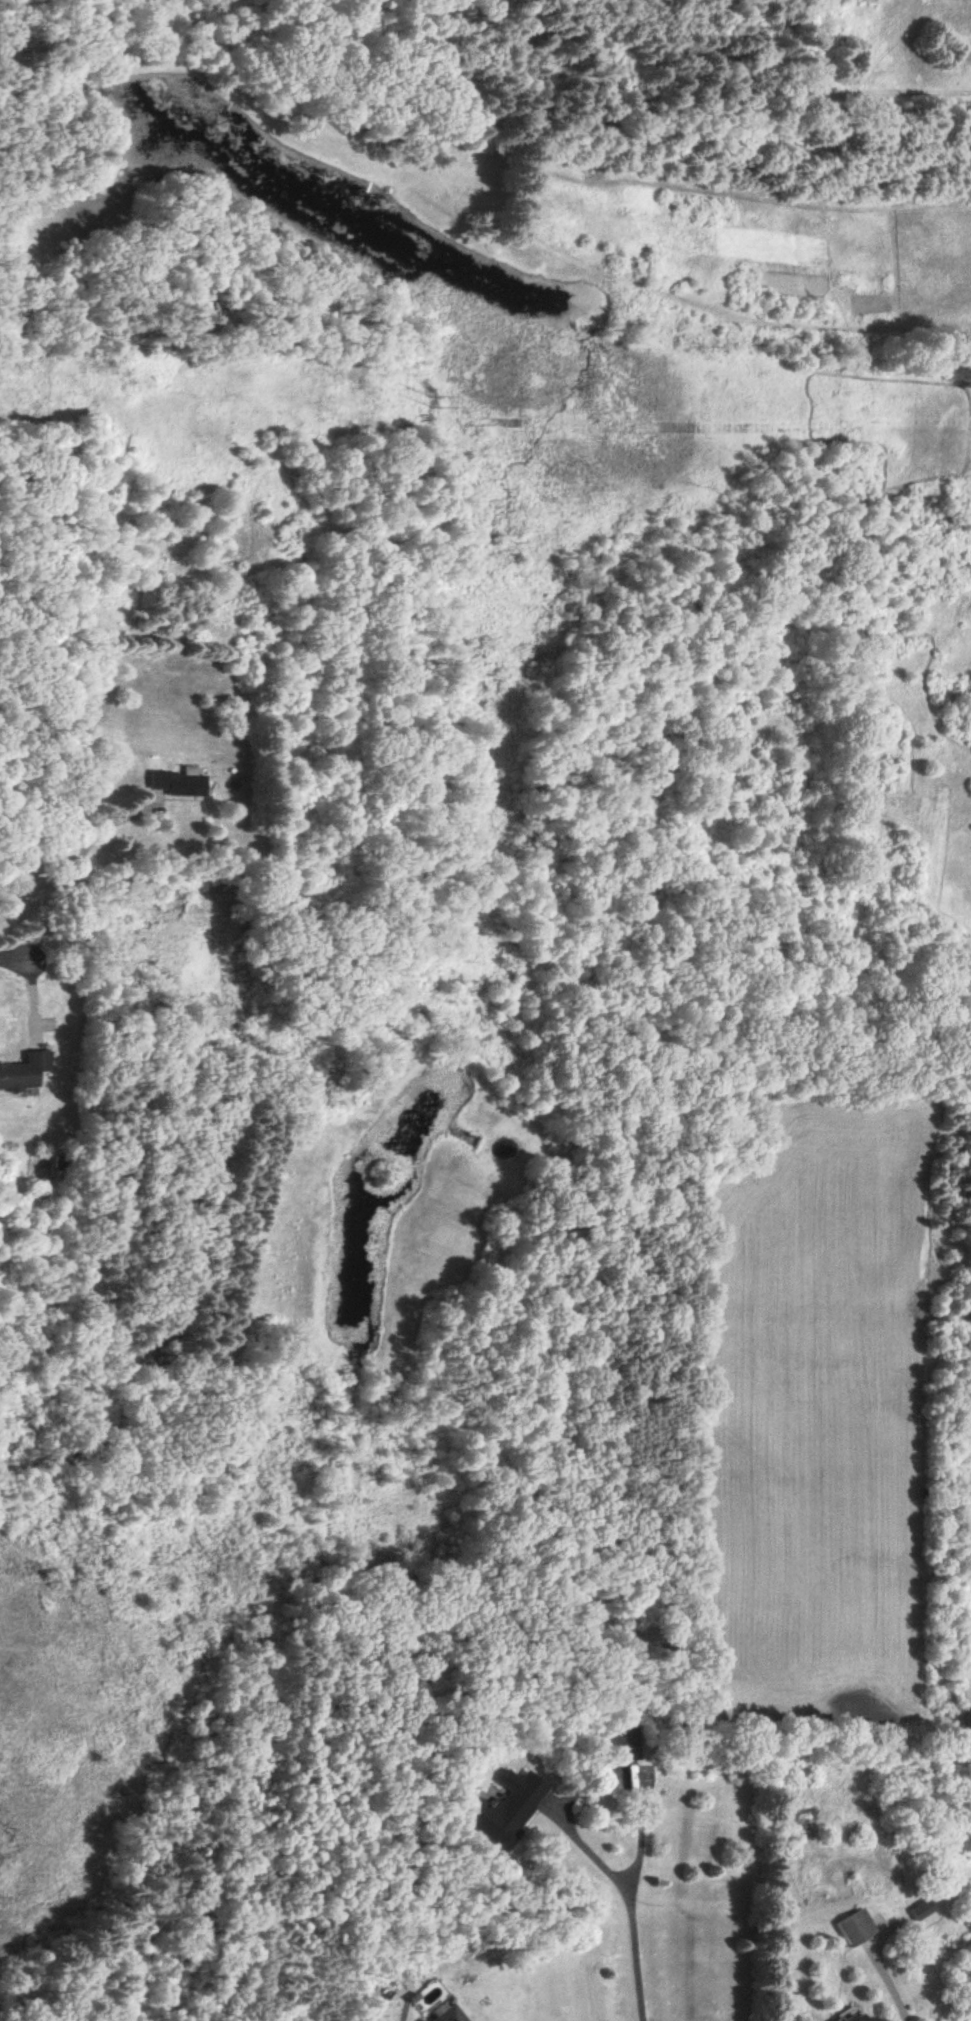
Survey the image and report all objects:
power tower: (437, 408)
building: (80, 781)
building: (180, 782)
road: (75, 872)
road: (17, 960)
building: (24, 1072)
building: (619, 1742)
building: (492, 1809)
road: (641, 1829)
road: (629, 1894)
building: (922, 1910)
building: (854, 1927)
building: (443, 2013)
building: (855, 2017)

